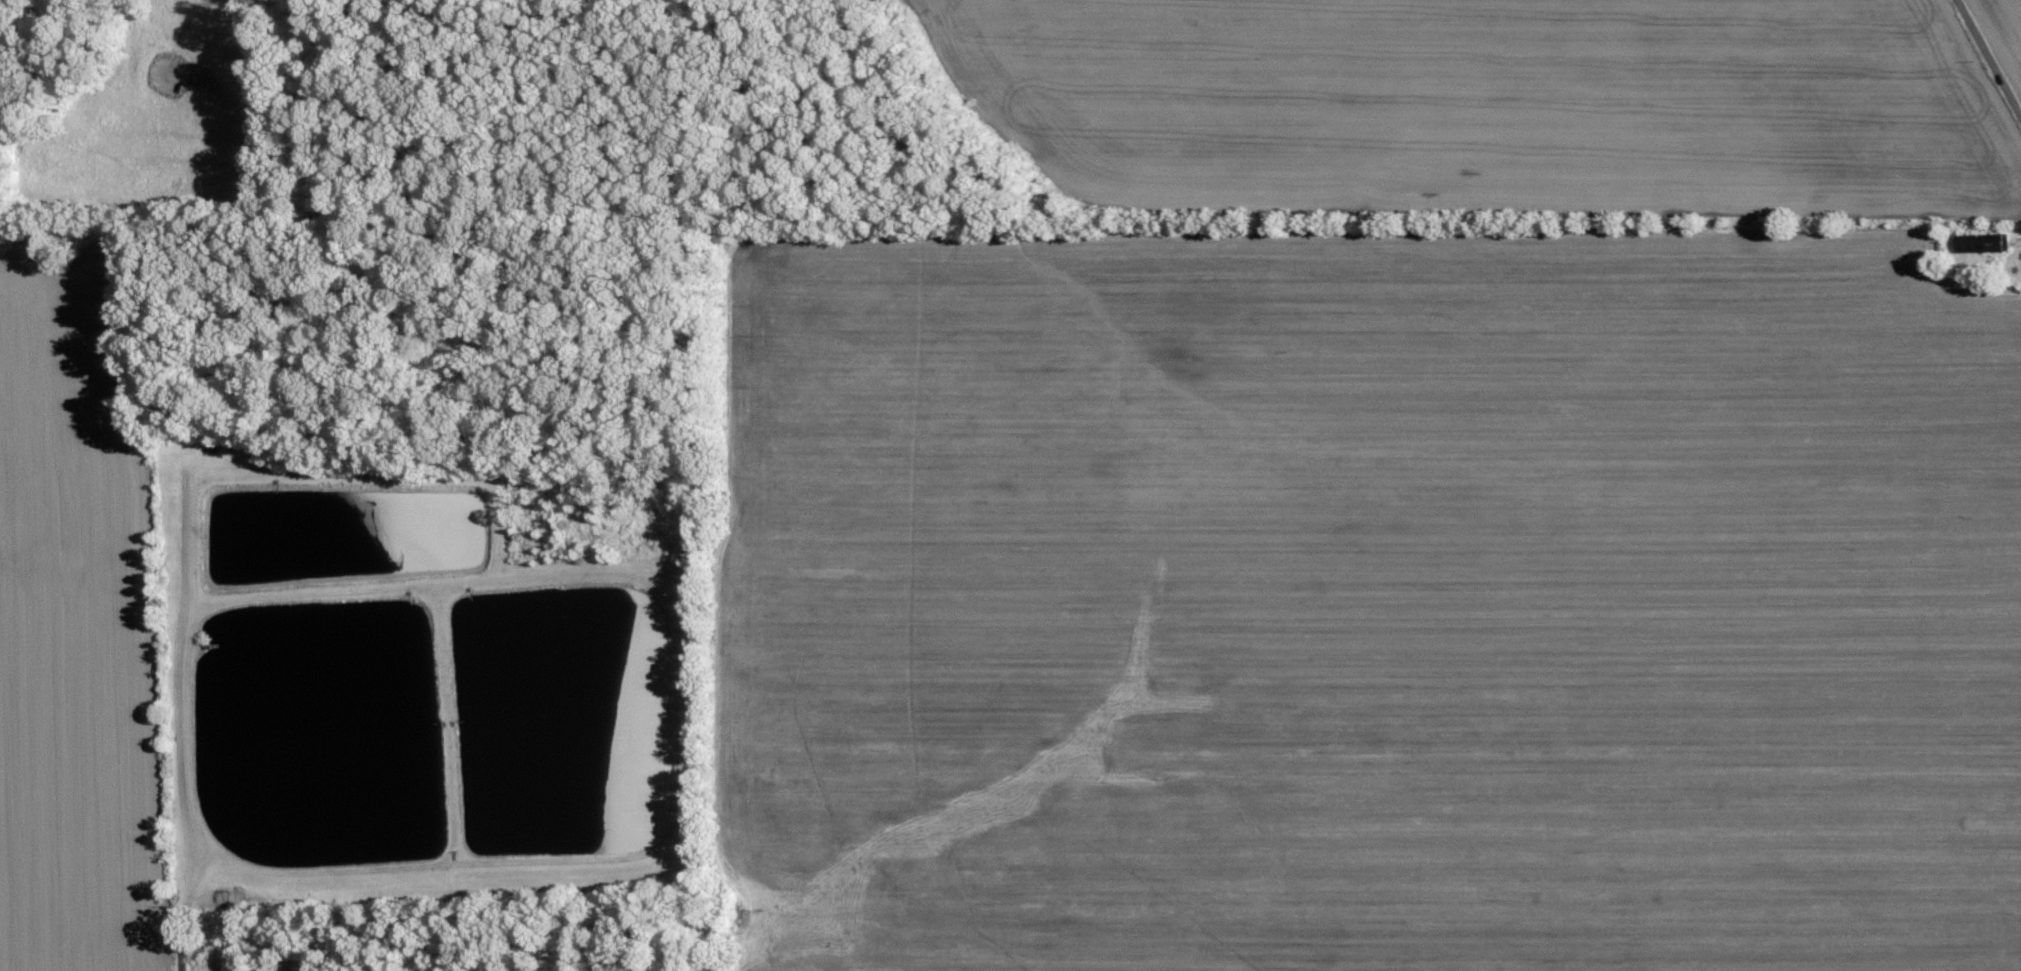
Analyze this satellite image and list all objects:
road: (1990, 57)

